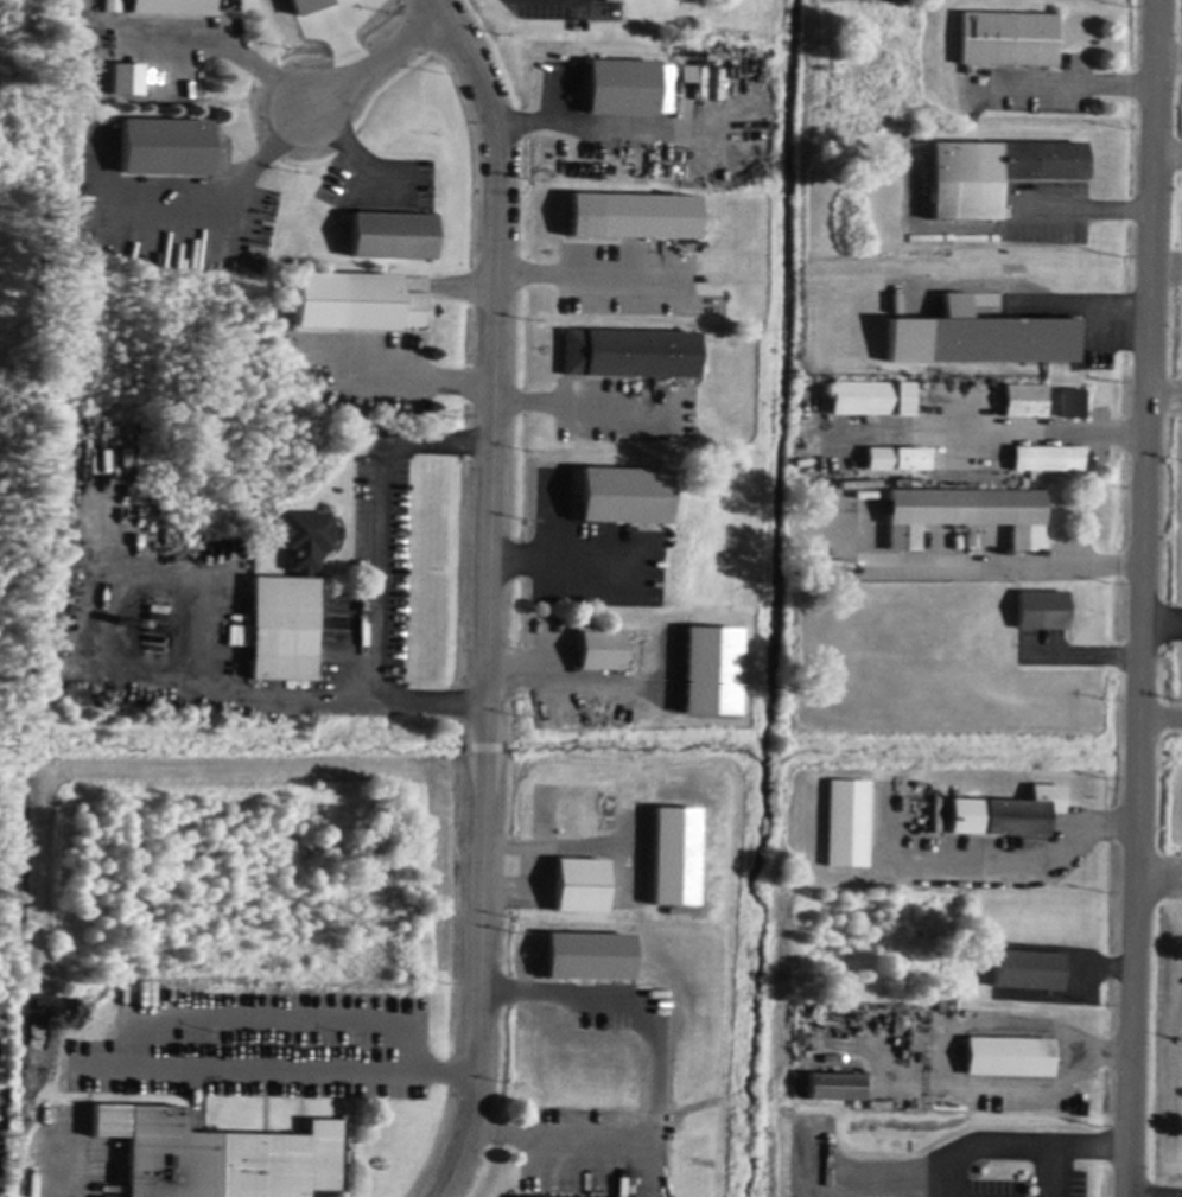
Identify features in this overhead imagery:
building: (113, 6)
building: (310, 6)
building: (172, 7)
road: (224, 42)
building: (1008, 42)
road: (1169, 59)
road: (374, 62)
building: (686, 74)
building: (125, 79)
road: (1076, 79)
building: (622, 89)
road: (568, 125)
building: (165, 148)
road: (352, 152)
road: (1168, 159)
road: (246, 170)
building: (994, 174)
road: (1081, 214)
building: (634, 218)
building: (392, 237)
road: (590, 276)
road: (1081, 300)
building: (356, 305)
building: (994, 339)
building: (633, 356)
road: (412, 383)
road: (1165, 395)
building: (871, 400)
road: (563, 403)
building: (1023, 403)
building: (1072, 406)
road: (1030, 432)
building: (1046, 460)
building: (900, 464)
building: (623, 498)
building: (964, 516)
road: (546, 517)
road: (568, 561)
road: (1009, 571)
road: (367, 579)
road: (491, 594)
road: (1143, 598)
building: (290, 603)
building: (1042, 612)
road: (1162, 618)
building: (237, 636)
building: (598, 651)
road: (1088, 656)
building: (710, 670)
road: (561, 682)
road: (1161, 719)
building: (1024, 814)
building: (849, 826)
road: (553, 851)
building: (675, 858)
road: (1025, 864)
road: (1158, 877)
building: (580, 887)
building: (586, 956)
road: (1101, 966)
building: (1028, 973)
road: (297, 1018)
building: (0, 1023)
road: (1100, 1053)
building: (1009, 1058)
road: (310, 1068)
road: (657, 1075)
building: (833, 1089)
road: (1017, 1146)
building: (220, 1158)
road: (1051, 1171)

